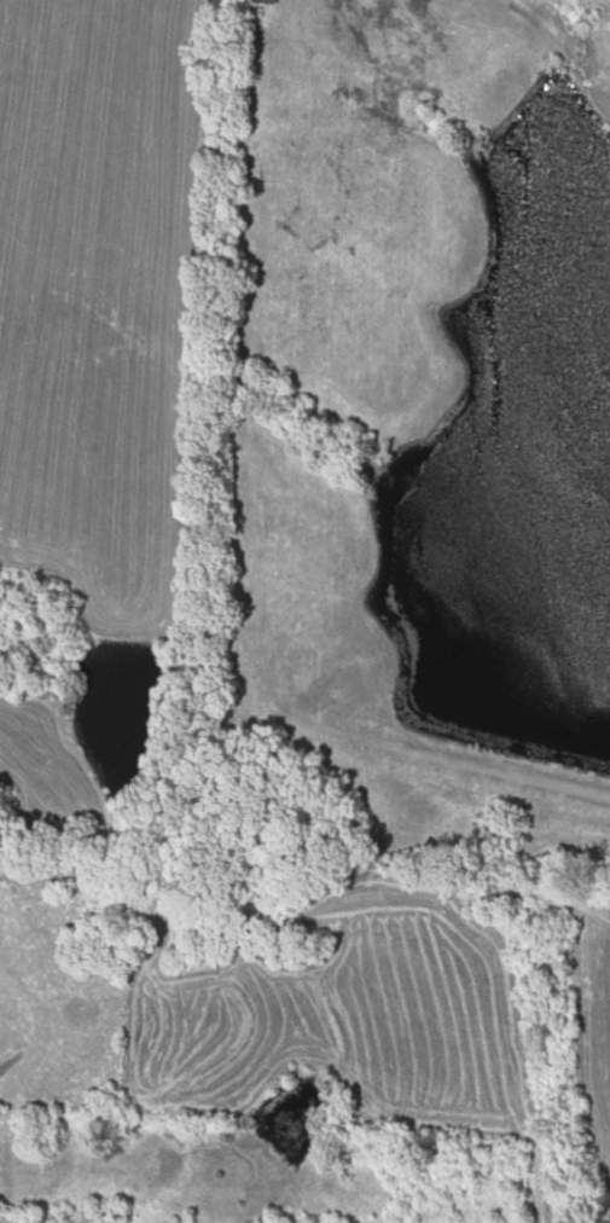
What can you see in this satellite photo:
building: (271, 2)
dam: (506, 742)

